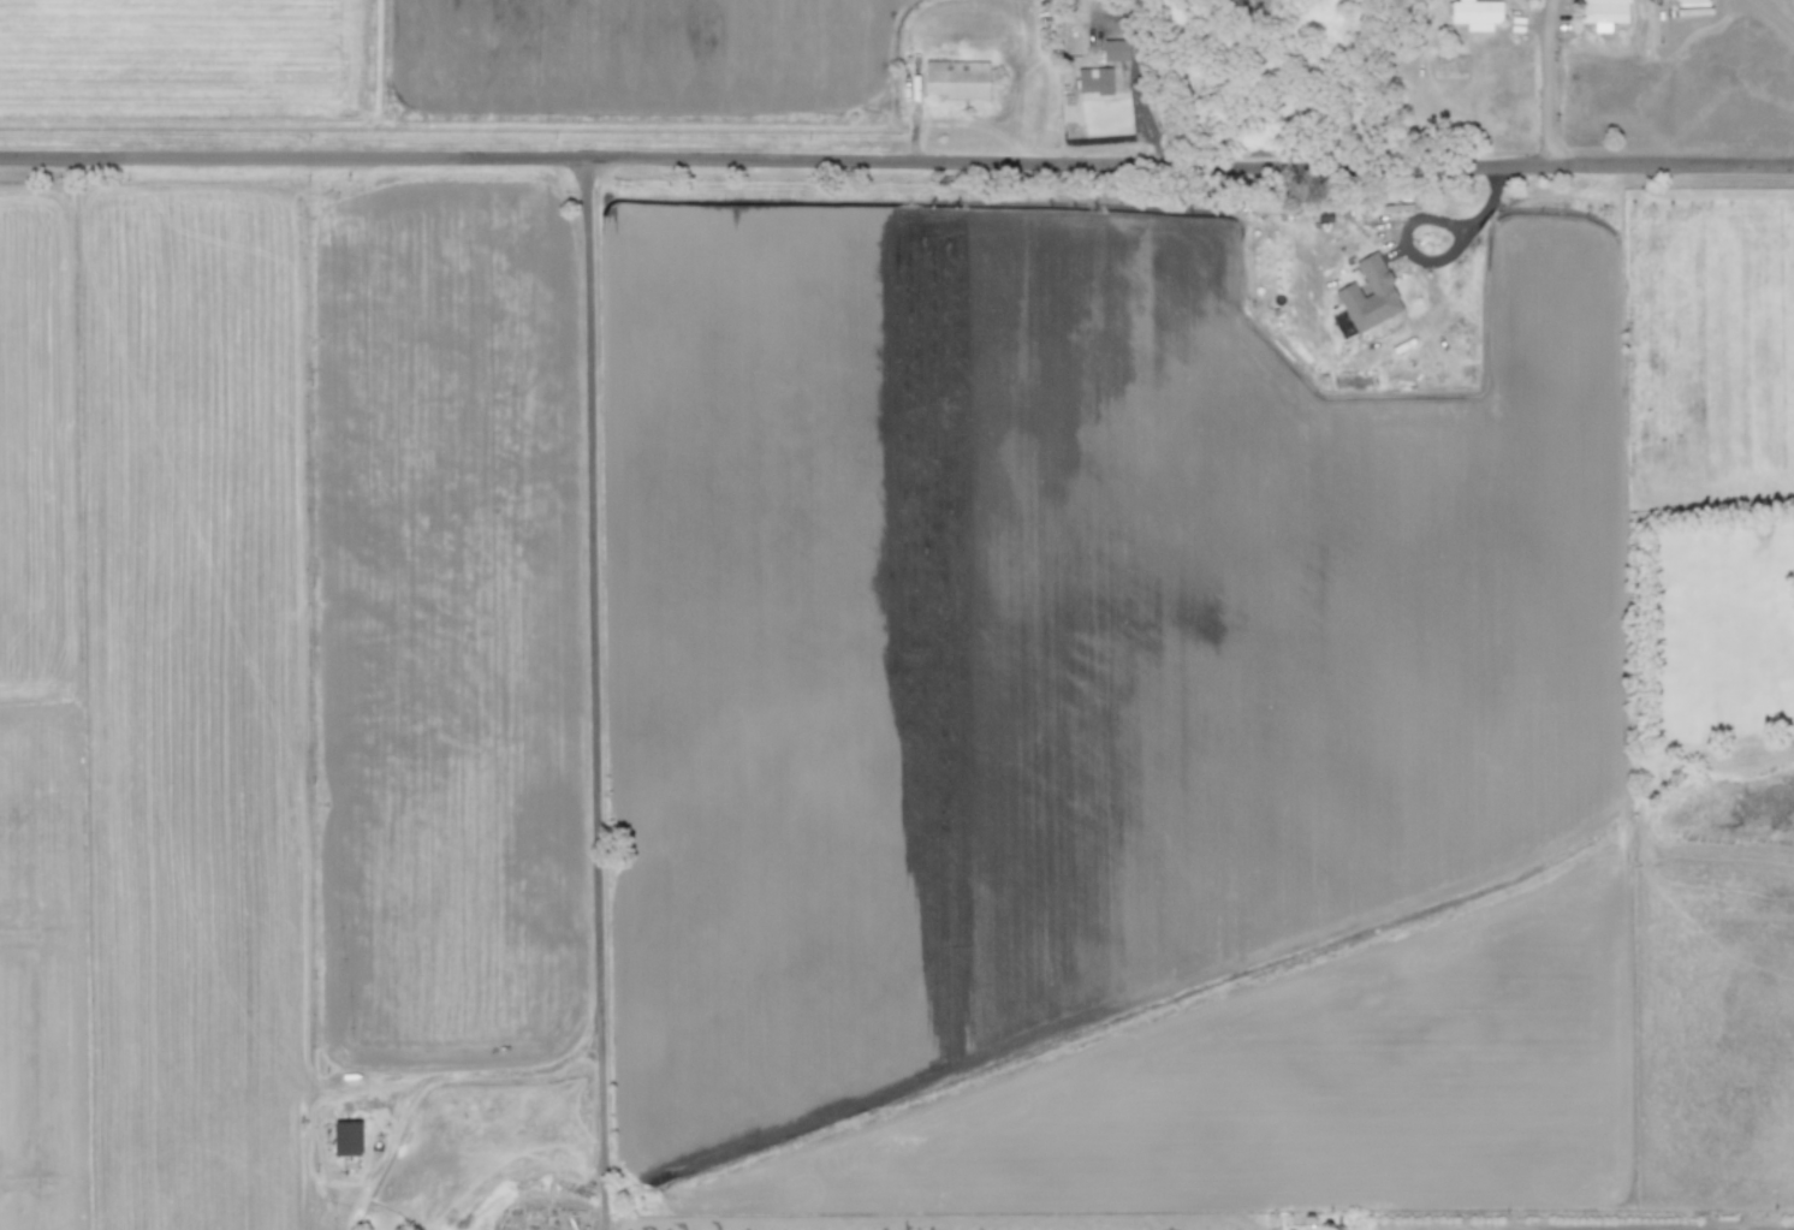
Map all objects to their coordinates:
building: (1689, 2)
building: (1604, 11)
building: (1474, 12)
road: (1772, 17)
building: (1116, 48)
building: (955, 77)
building: (1095, 79)
road: (1551, 79)
road: (897, 158)
road: (1436, 259)
building: (1370, 293)
crop: (339, 614)
road: (594, 694)
road: (511, 1072)
building: (346, 1136)

